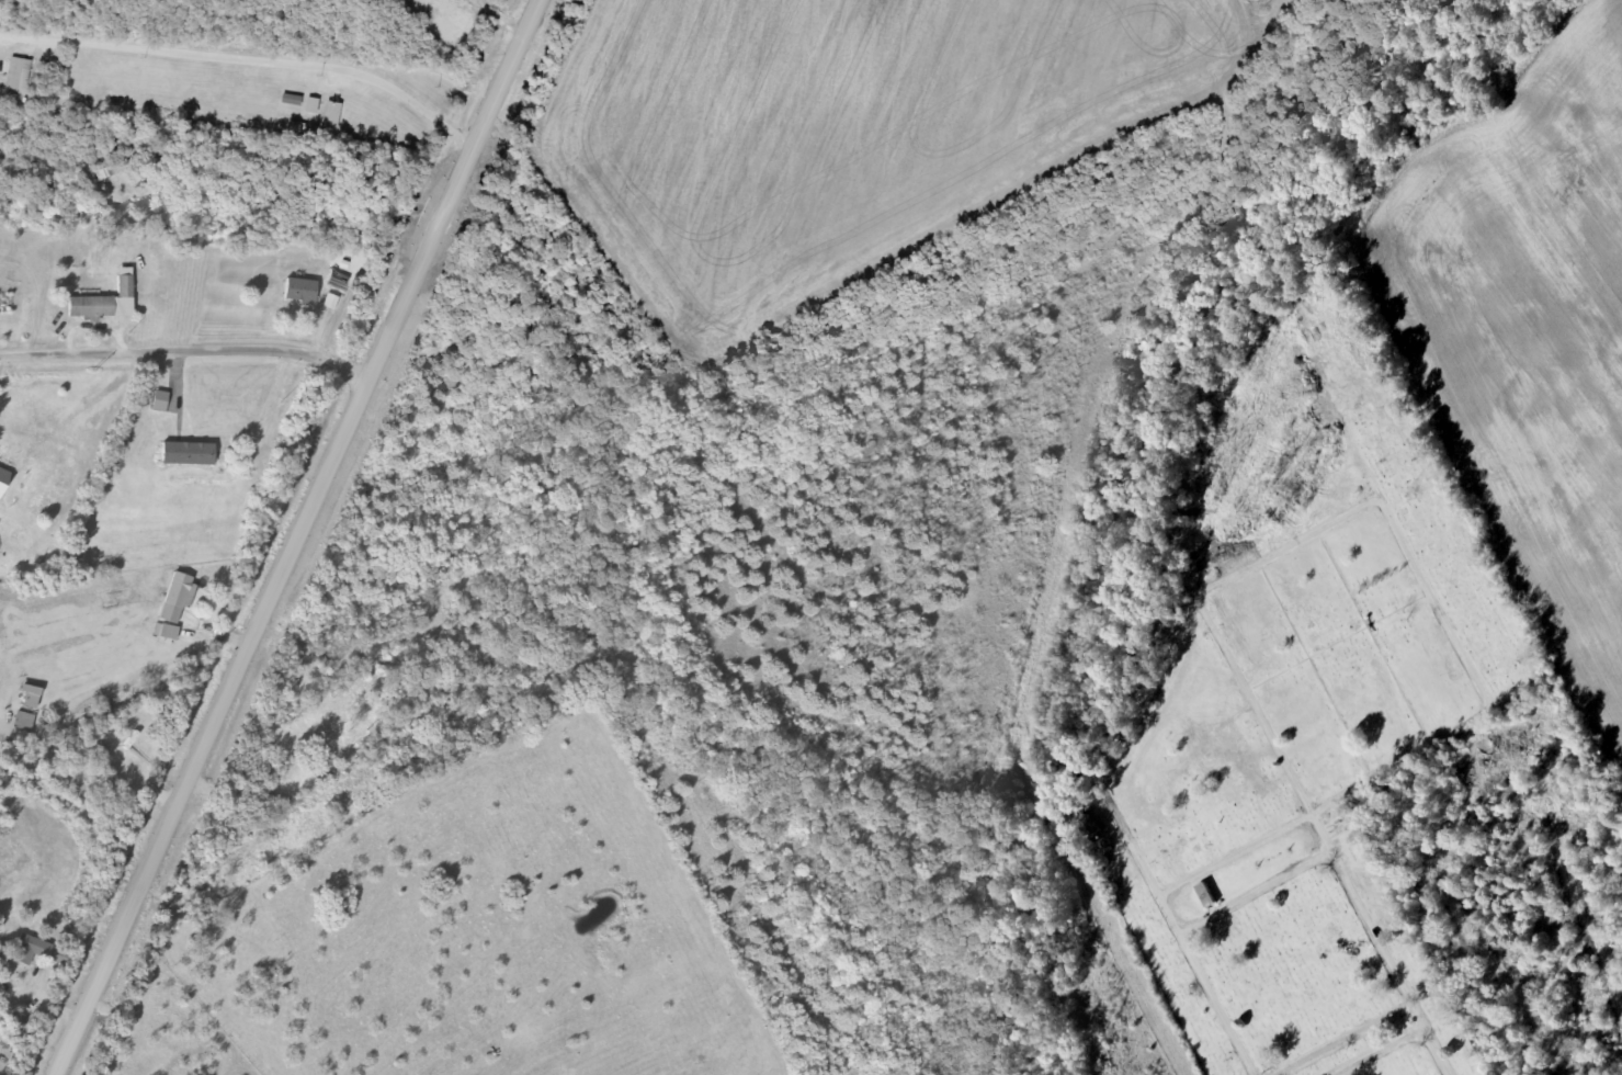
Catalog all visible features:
road: (336, 72)
building: (19, 77)
building: (292, 100)
building: (313, 105)
building: (333, 115)
building: (124, 286)
building: (299, 291)
building: (89, 308)
road: (188, 352)
building: (185, 454)
road: (1375, 500)
road: (299, 537)
building: (174, 598)
building: (29, 697)
building: (23, 722)
building: (284, 744)
park: (1305, 773)
building: (103, 787)
building: (1088, 828)
road: (1275, 831)
road: (1135, 850)
road: (1256, 892)
building: (1205, 896)
building: (38, 952)
building: (2, 957)
road: (1341, 1038)
road: (1381, 1051)

